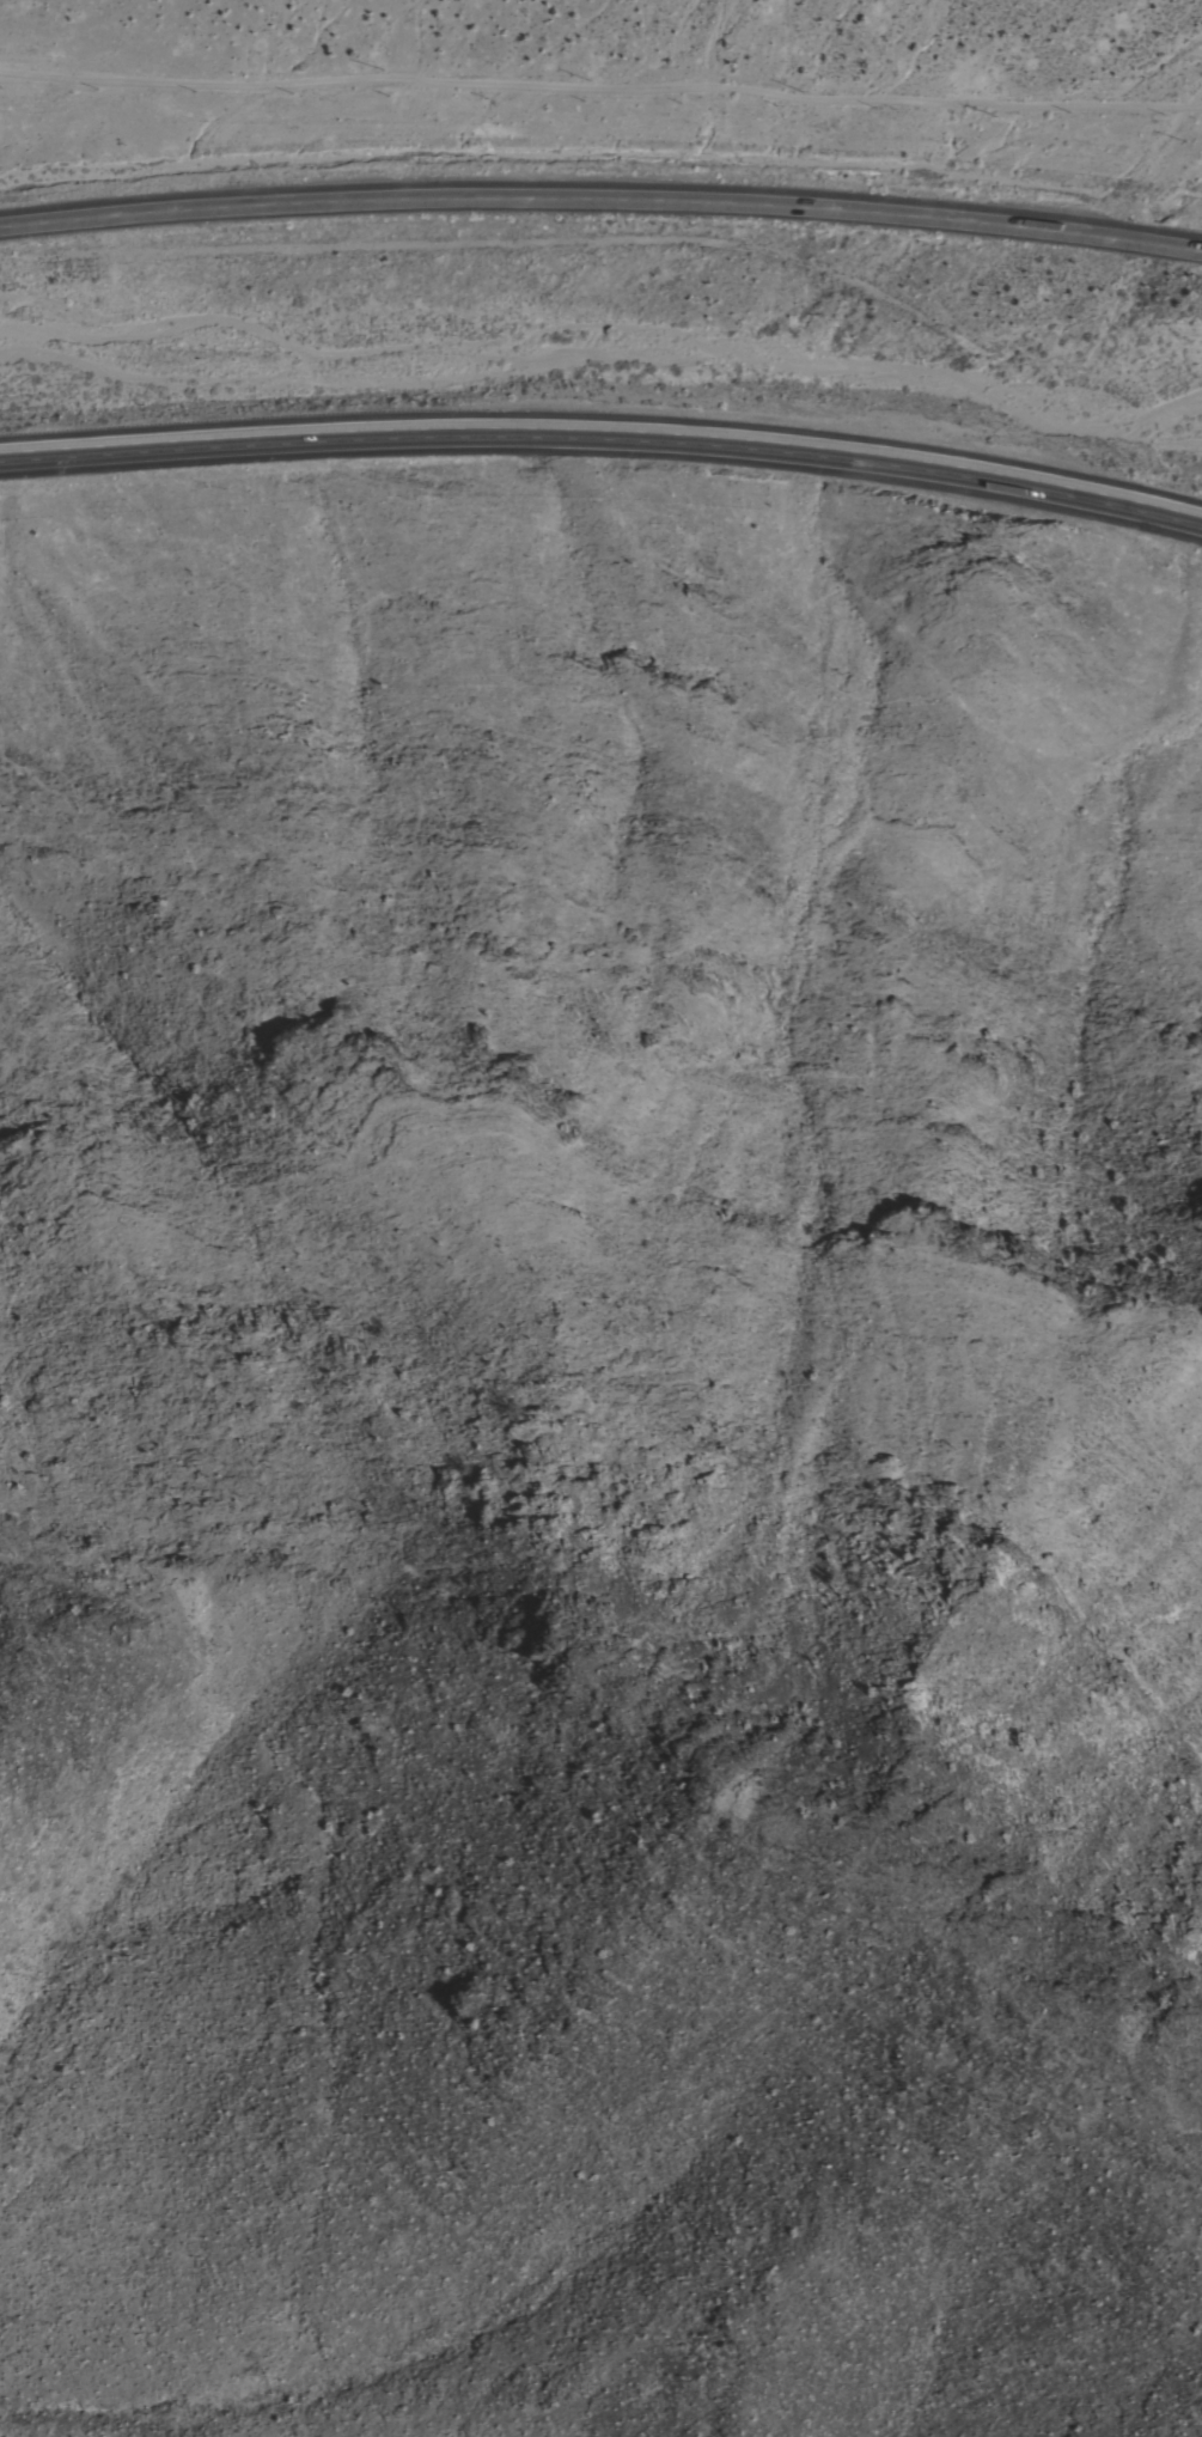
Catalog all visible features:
road: (409, 39)
road: (602, 85)
road: (1183, 108)
road: (602, 197)
railway: (604, 346)
road: (604, 438)

